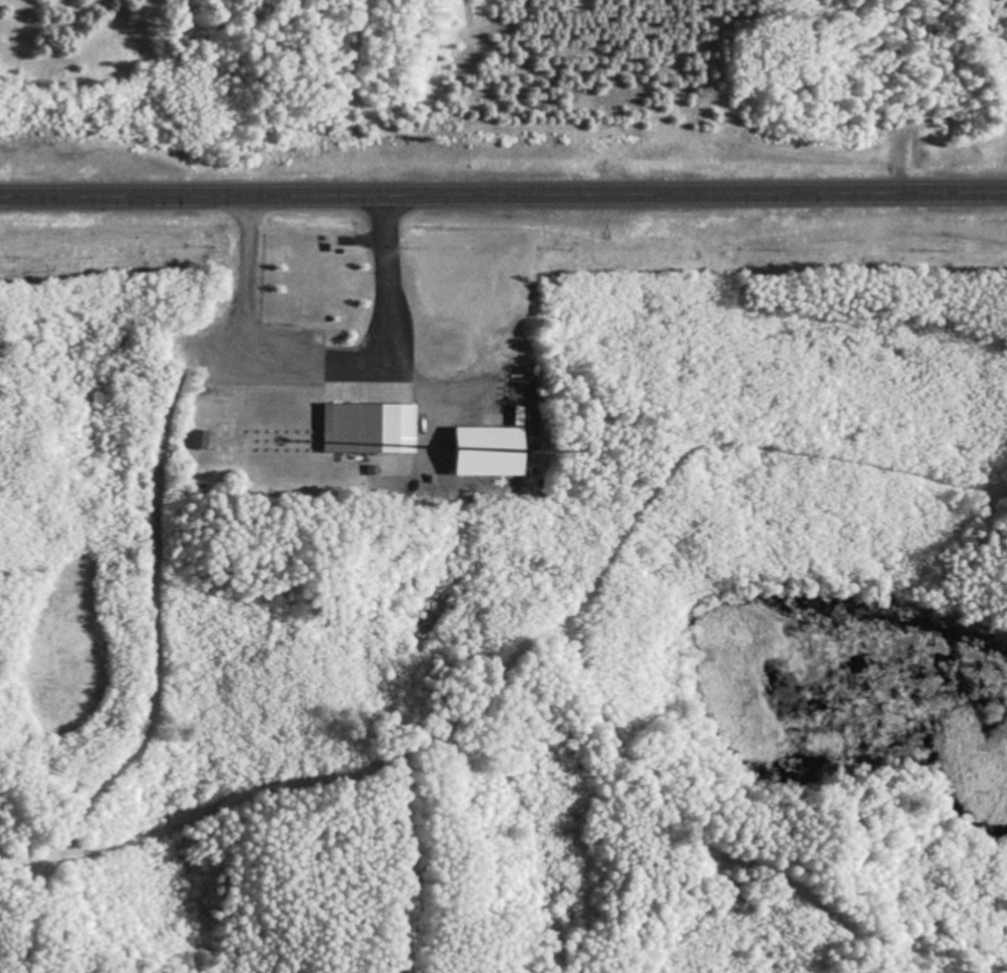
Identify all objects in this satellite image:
road: (503, 194)
building: (369, 429)
building: (200, 441)
building: (489, 452)

